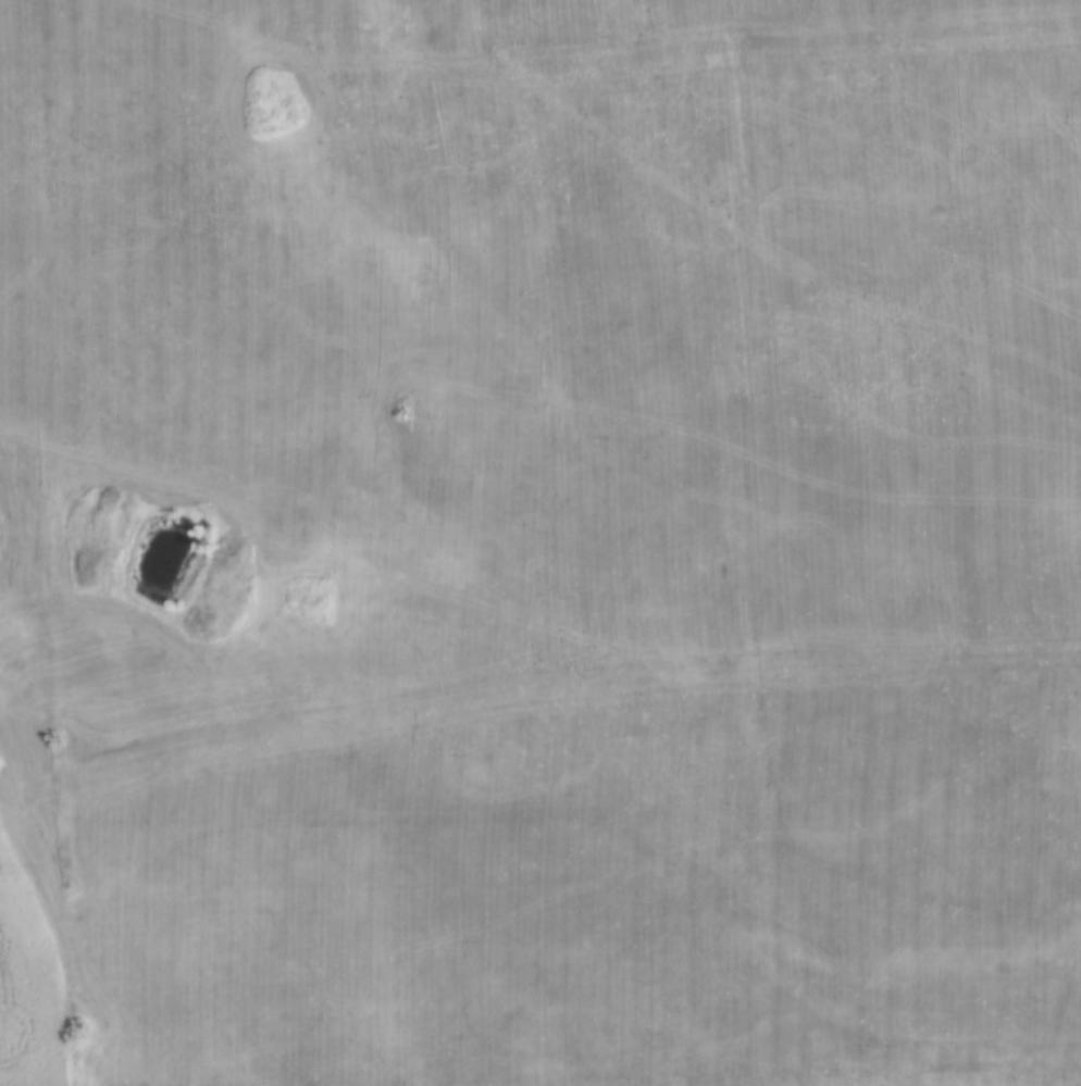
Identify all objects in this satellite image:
road: (749, 435)

